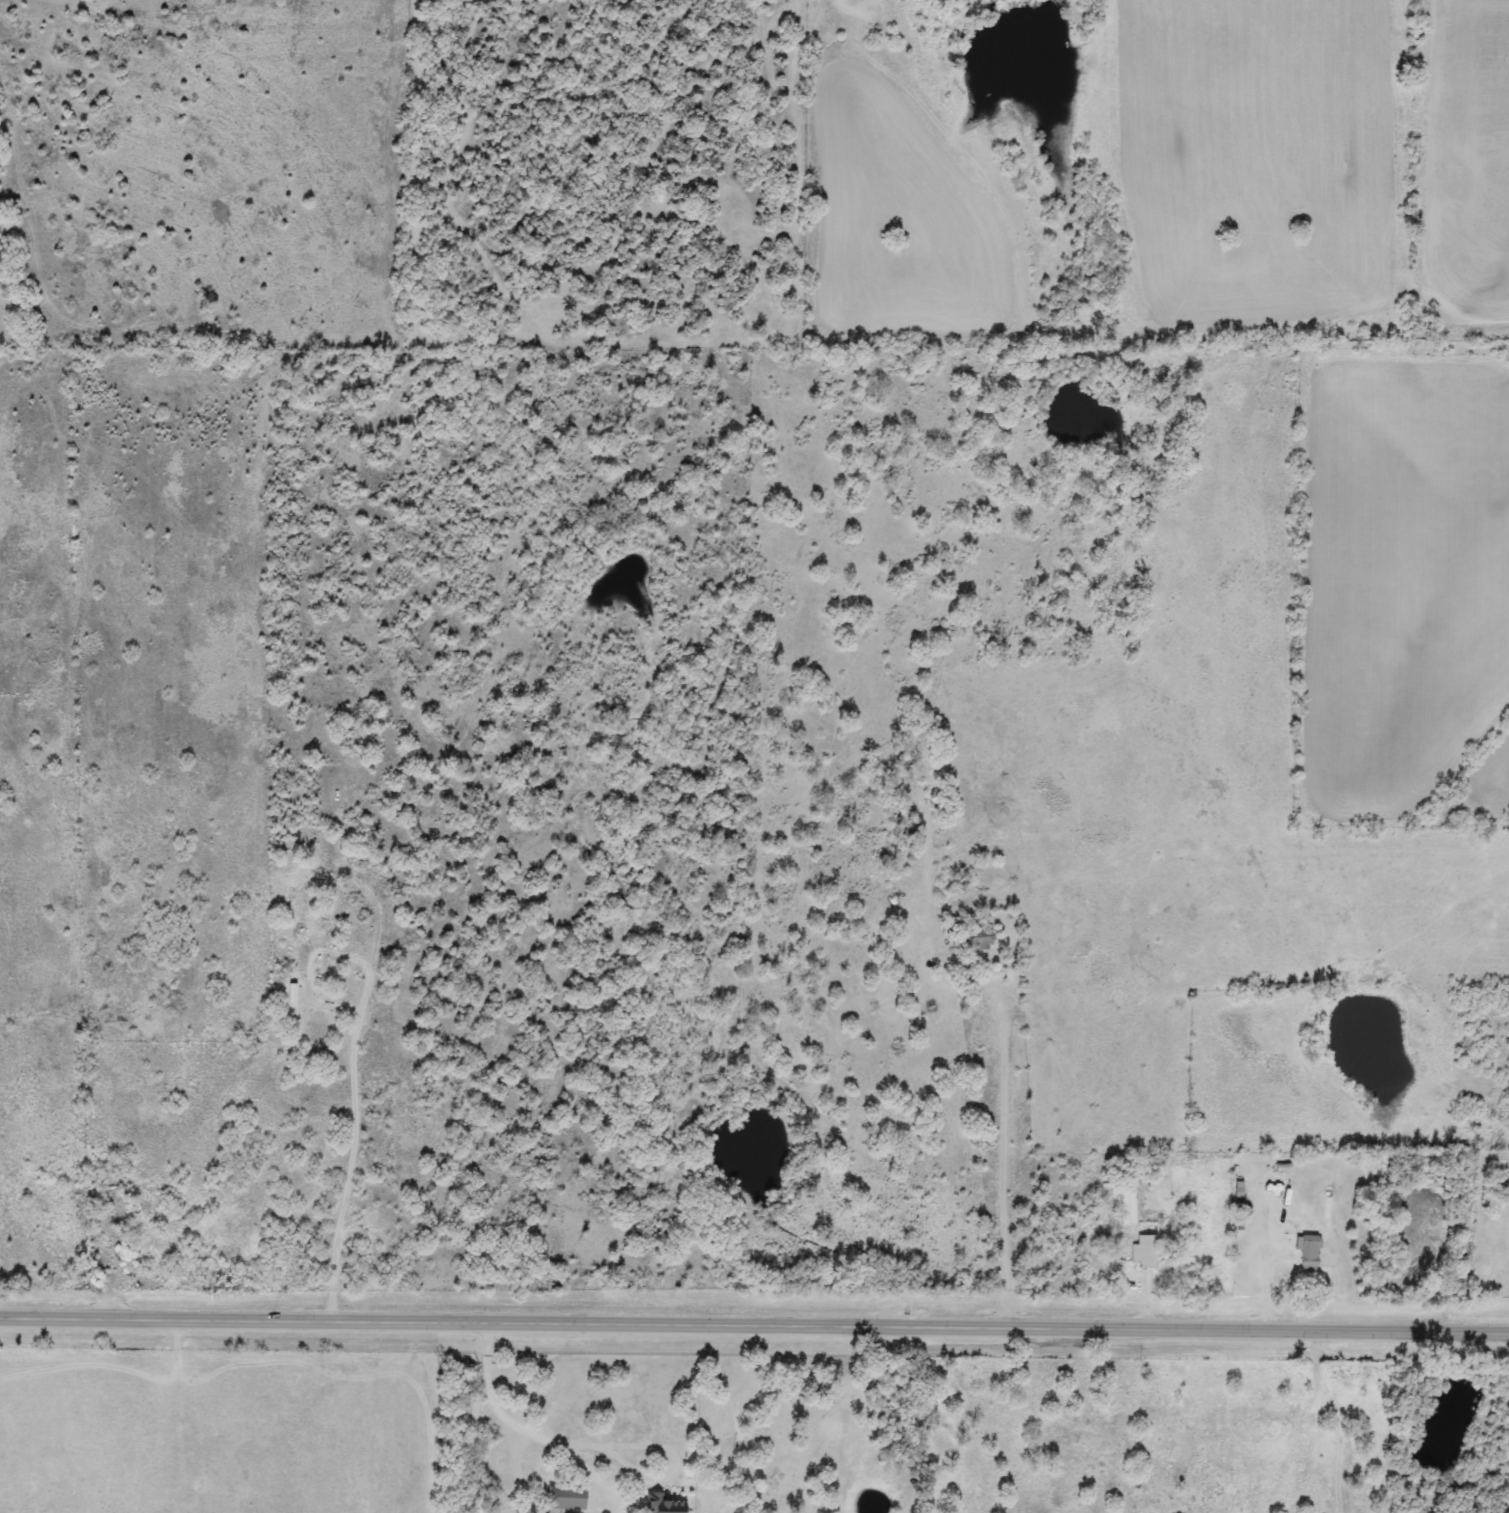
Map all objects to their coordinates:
building: (978, 939)
road: (355, 1092)
road: (1003, 1155)
building: (1125, 1207)
building: (1144, 1250)
building: (1307, 1252)
road: (1268, 1280)
road: (754, 1322)
road: (1317, 1420)
road: (527, 1432)
building: (564, 1498)
building: (660, 1504)

